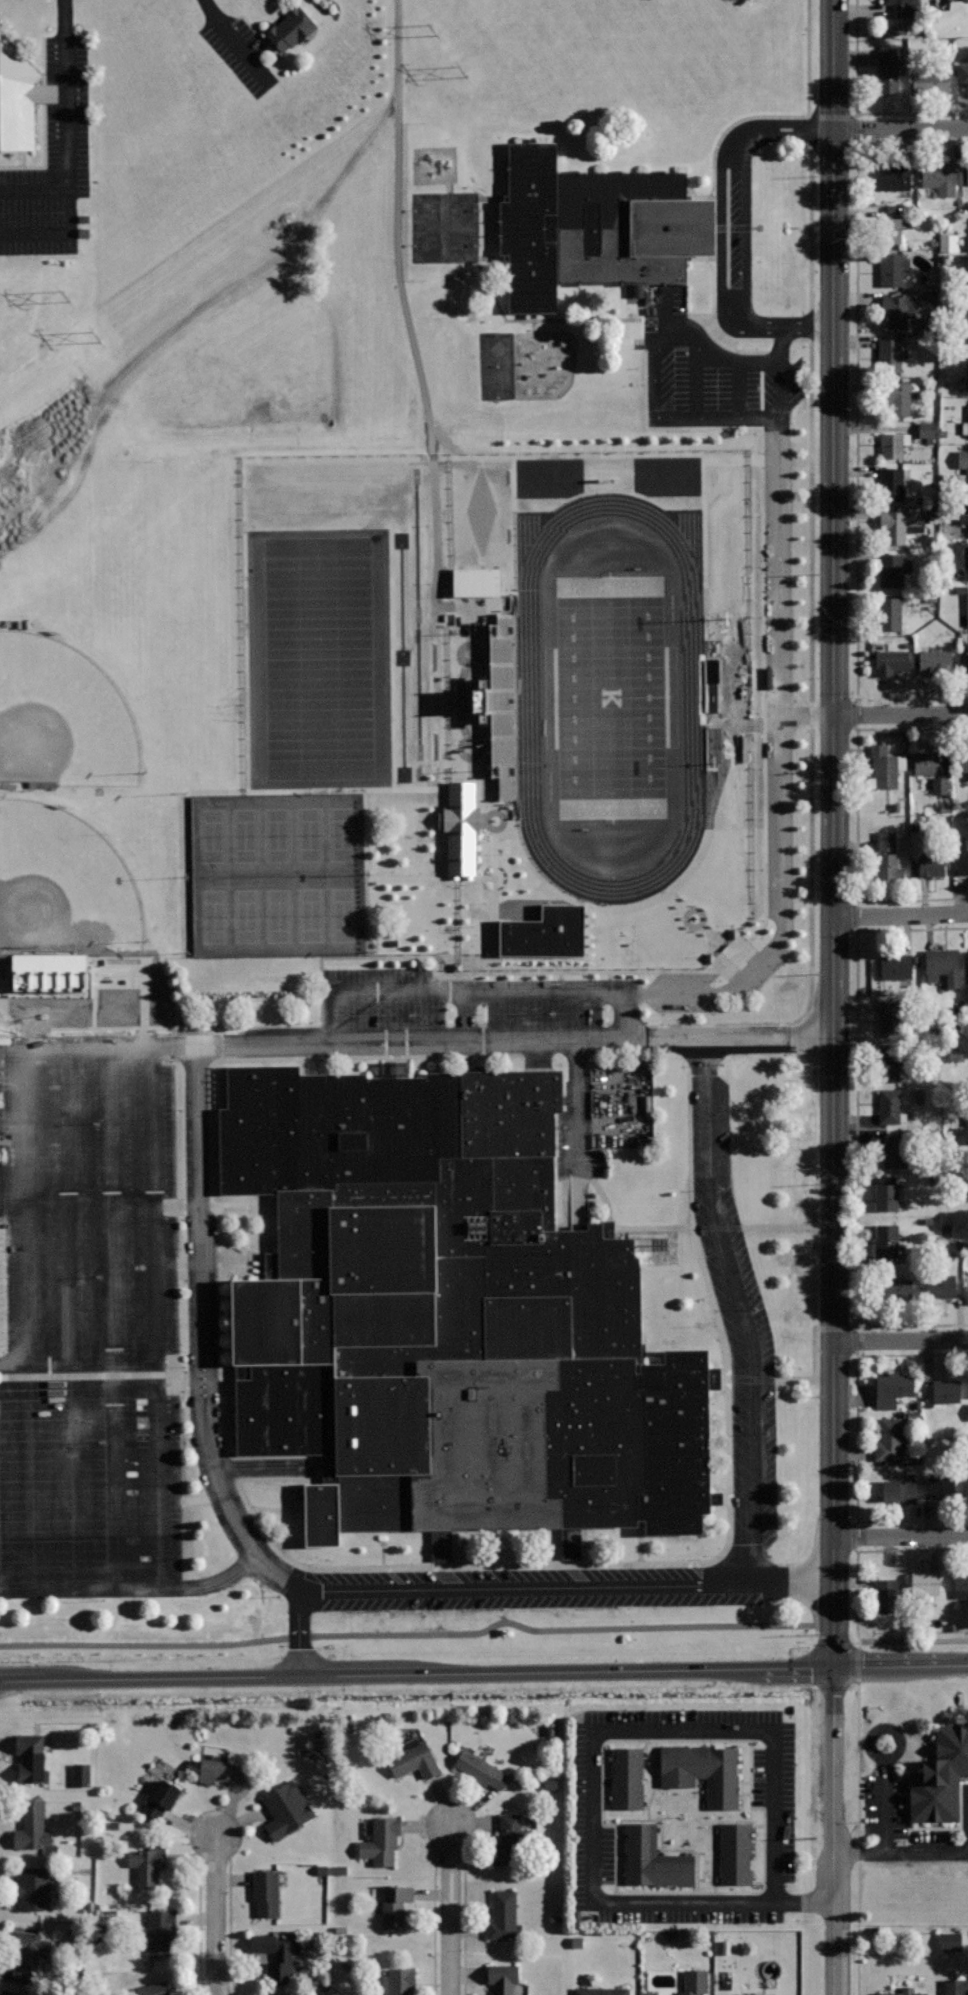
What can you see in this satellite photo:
building: (944, 0)
building: (905, 8)
building: (290, 28)
power tower: (432, 30)
road: (234, 45)
parking lot: (237, 48)
road: (807, 59)
building: (887, 70)
power tower: (462, 72)
building: (962, 73)
building: (929, 80)
road: (67, 96)
building: (20, 99)
road: (856, 111)
road: (901, 129)
road: (808, 131)
parking lot: (52, 157)
building: (967, 172)
building: (895, 177)
building: (939, 177)
road: (35, 192)
road: (713, 214)
building: (590, 227)
road: (808, 227)
building: (887, 230)
road: (734, 231)
road: (56, 234)
building: (947, 243)
building: (967, 245)
building: (892, 268)
building: (966, 282)
building: (634, 290)
power tower: (64, 297)
road: (212, 299)
building: (898, 309)
road: (500, 311)
parking lot: (727, 312)
road: (406, 314)
road: (532, 323)
road: (809, 324)
building: (967, 327)
power tower: (96, 338)
road: (782, 339)
building: (890, 355)
road: (655, 371)
road: (781, 373)
building: (963, 379)
building: (900, 397)
road: (856, 422)
building: (967, 422)
building: (924, 430)
building: (894, 447)
road: (373, 457)
road: (731, 460)
building: (964, 460)
building: (893, 481)
road: (809, 513)
road: (35, 516)
road: (835, 517)
building: (963, 520)
building: (900, 524)
building: (966, 562)
park: (179, 564)
building: (894, 569)
building: (474, 581)
road: (475, 606)
building: (967, 606)
building: (891, 612)
park: (318, 658)
building: (891, 661)
building: (935, 661)
building: (967, 661)
road: (442, 695)
track: (531, 698)
park: (611, 699)
building: (473, 703)
building: (502, 705)
road: (901, 713)
road: (809, 714)
parking lot: (792, 715)
road: (809, 715)
park: (63, 719)
road: (762, 742)
building: (964, 760)
building: (926, 763)
building: (884, 766)
road: (784, 768)
road: (442, 778)
building: (938, 786)
road: (855, 815)
building: (458, 827)
park: (309, 833)
park: (344, 833)
park: (245, 834)
park: (277, 834)
park: (210, 835)
building: (962, 857)
building: (932, 864)
building: (887, 866)
road: (475, 879)
park: (63, 884)
road: (631, 906)
road: (526, 911)
park: (311, 914)
park: (346, 914)
park: (246, 915)
park: (278, 915)
park: (212, 916)
road: (901, 916)
road: (696, 920)
building: (541, 934)
road: (719, 934)
building: (724, 944)
road: (742, 947)
road: (809, 949)
road: (354, 957)
building: (943, 965)
road: (724, 966)
building: (896, 966)
building: (967, 967)
road: (567, 968)
building: (47, 971)
road: (560, 978)
road: (608, 978)
road: (522, 979)
road: (451, 987)
parking lot: (474, 1003)
road: (627, 1012)
building: (891, 1018)
road: (16, 1027)
road: (515, 1041)
road: (321, 1042)
road: (97, 1046)
road: (240, 1059)
building: (892, 1061)
building: (392, 1069)
road: (856, 1072)
road: (637, 1104)
building: (889, 1106)
parking lot: (596, 1126)
building: (966, 1126)
road: (577, 1133)
building: (964, 1135)
building: (895, 1150)
building: (886, 1197)
road: (160, 1204)
road: (31, 1205)
road: (74, 1205)
road: (113, 1205)
parking lot: (89, 1206)
road: (180, 1207)
road: (82, 1208)
road: (2, 1219)
road: (726, 1227)
building: (886, 1239)
road: (180, 1264)
building: (941, 1283)
building: (896, 1288)
building: (967, 1293)
road: (741, 1309)
building: (447, 1317)
road: (912, 1325)
flagpole: (699, 1327)
road: (856, 1327)
road: (901, 1340)
road: (219, 1351)
road: (80, 1364)
parking lot: (751, 1368)
road: (808, 1381)
building: (966, 1387)
building: (893, 1388)
building: (946, 1391)
road: (856, 1438)
building: (889, 1442)
road: (260, 1469)
road: (163, 1476)
road: (118, 1477)
parking lot: (89, 1481)
building: (941, 1486)
building: (902, 1489)
road: (223, 1494)
road: (185, 1500)
road: (288, 1511)
road: (834, 1515)
road: (901, 1535)
road: (868, 1550)
road: (661, 1564)
road: (281, 1578)
building: (961, 1582)
building: (925, 1583)
road: (133, 1589)
building: (886, 1595)
road: (301, 1633)
road: (432, 1635)
road: (914, 1638)
road: (484, 1674)
building: (31, 1755)
road: (880, 1757)
road: (592, 1758)
building: (414, 1760)
building: (480, 1769)
building: (220, 1771)
building: (701, 1773)
building: (941, 1777)
building: (627, 1778)
building: (162, 1798)
building: (286, 1810)
building: (33, 1826)
road: (857, 1839)
building: (511, 1840)
building: (381, 1841)
road: (902, 1852)
building: (735, 1853)
building: (653, 1859)
building: (148, 1866)
building: (34, 1889)
building: (265, 1892)
building: (394, 1907)
road: (451, 1909)
road: (217, 1914)
building: (503, 1915)
road: (463, 1920)
road: (433, 1922)
road: (198, 1926)
road: (229, 1927)
building: (160, 1929)
building: (948, 1942)
building: (29, 1954)
building: (277, 1957)
building: (502, 1979)
building: (397, 1982)
building: (695, 1982)
building: (956, 1986)
building: (154, 1989)
building: (601, 1991)
building: (902, 1991)
building: (7, 1993)

